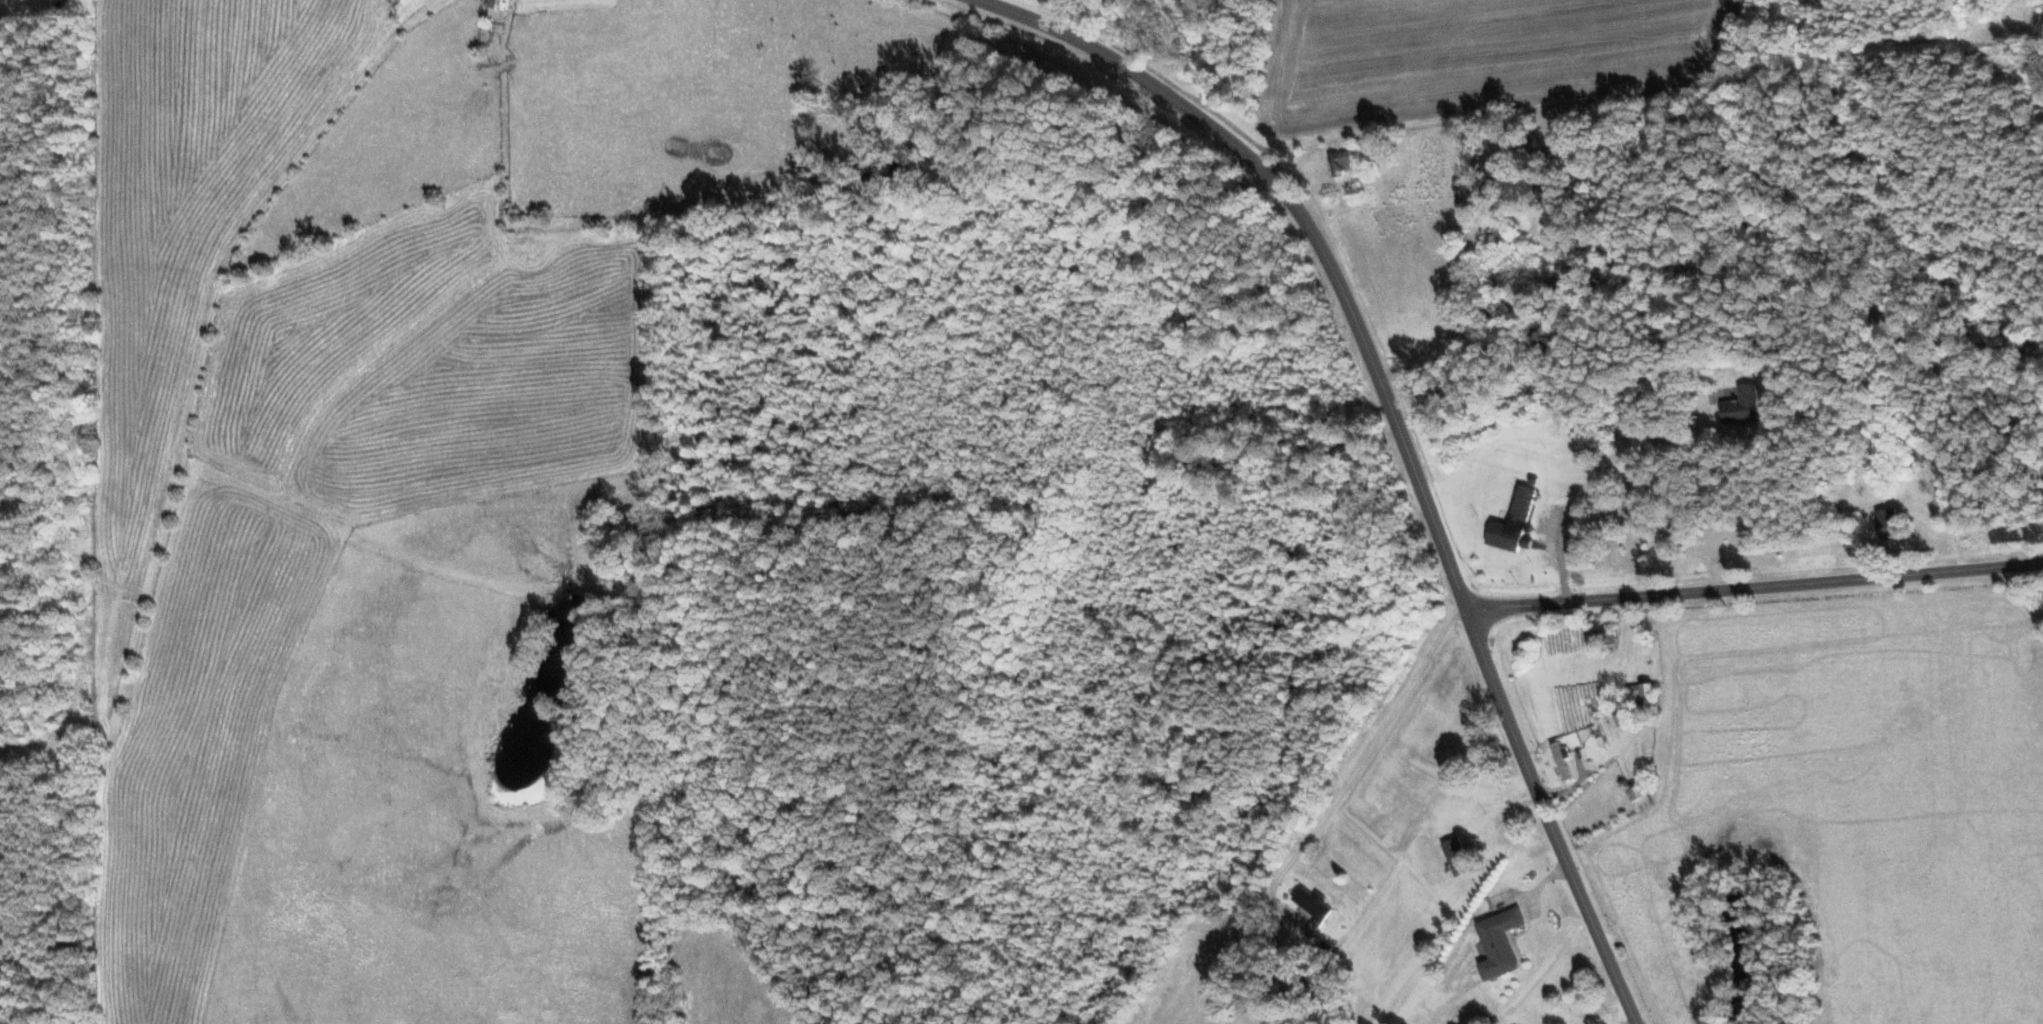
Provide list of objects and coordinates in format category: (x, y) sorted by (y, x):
building: (500, 10)
building: (1340, 162)
building: (1740, 406)
road: (1394, 421)
building: (1885, 522)
building: (1512, 523)
road: (1561, 557)
road: (1754, 587)
building: (1601, 640)
building: (1640, 690)
road: (1365, 755)
building: (1560, 759)
building: (1640, 796)
building: (1456, 857)
building: (1312, 904)
building: (1498, 943)

